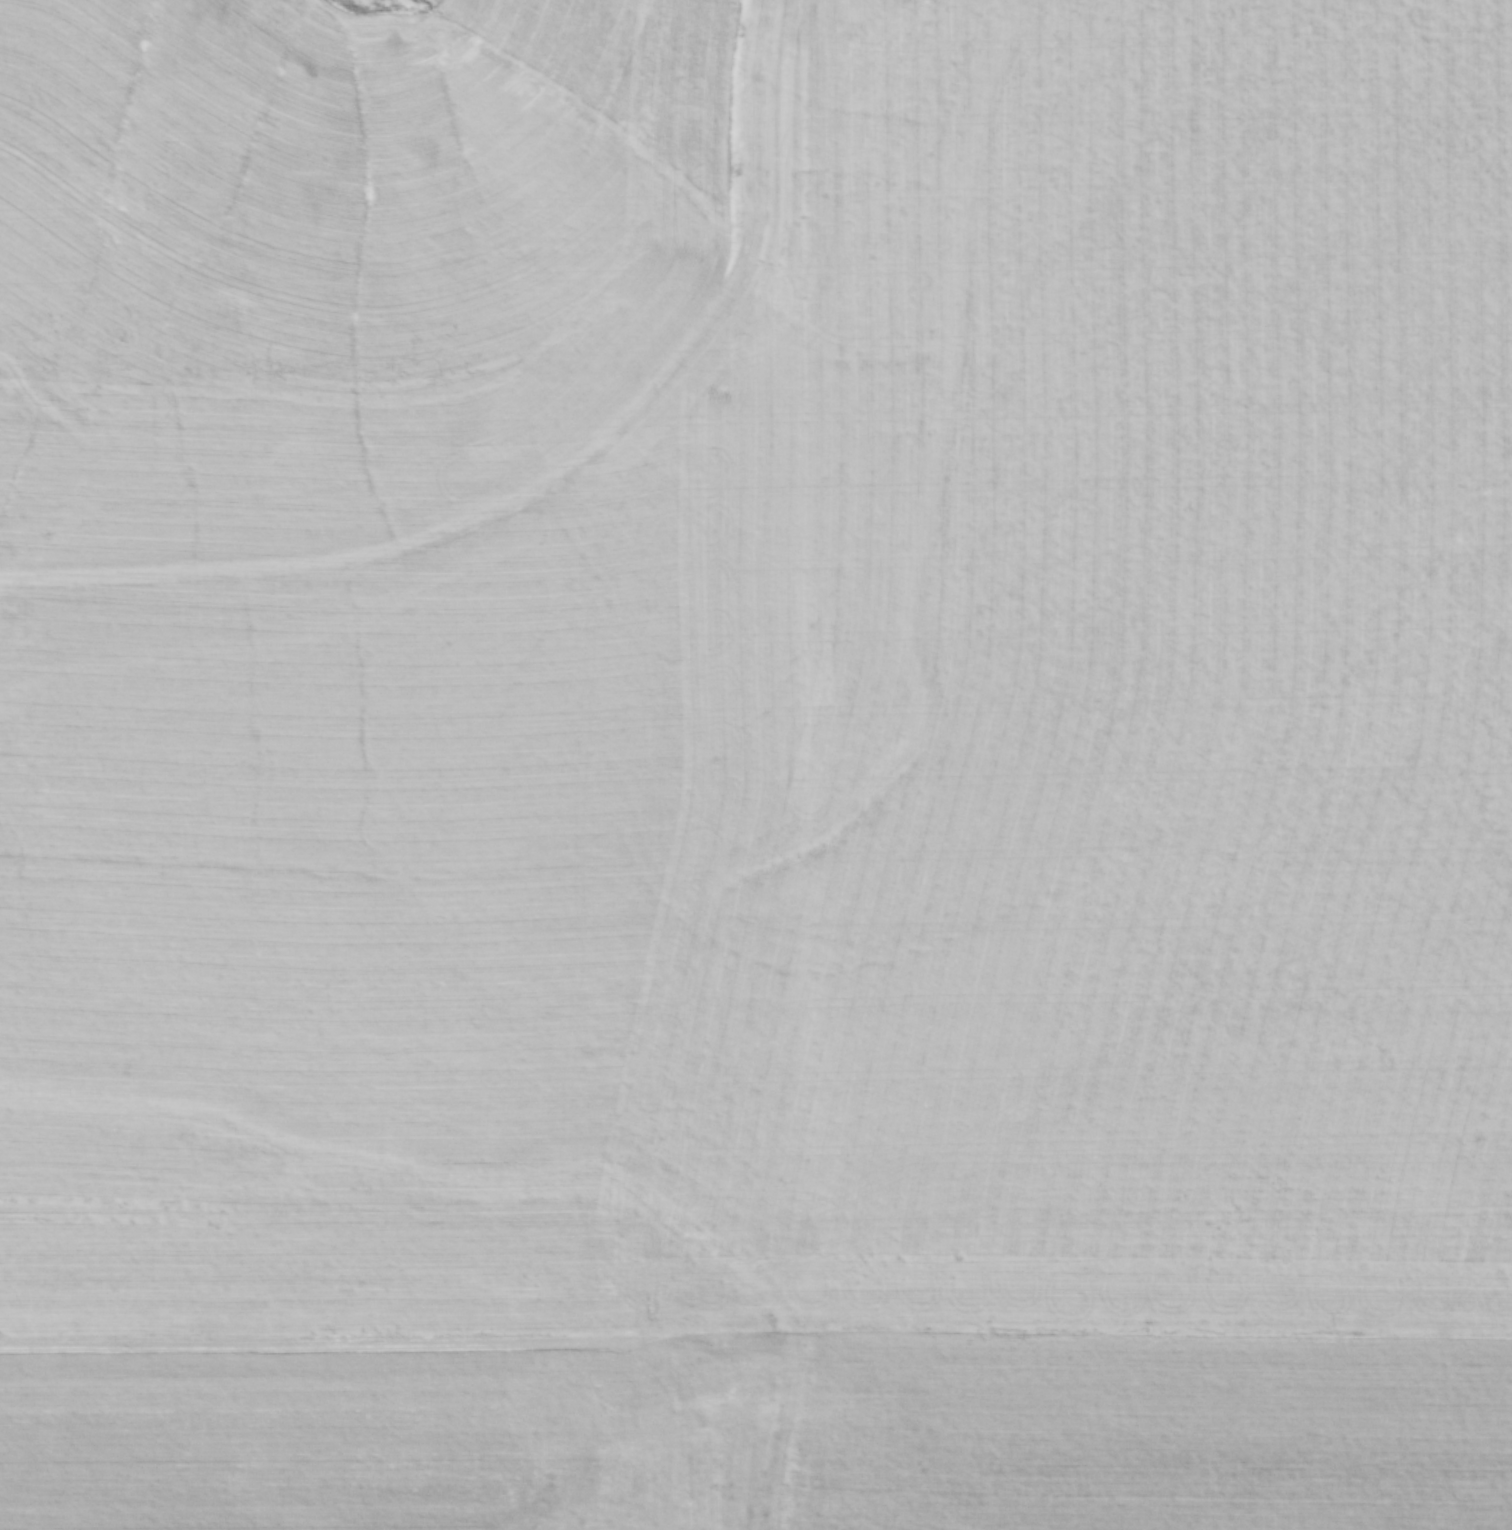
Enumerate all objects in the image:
road: (327, 1341)

